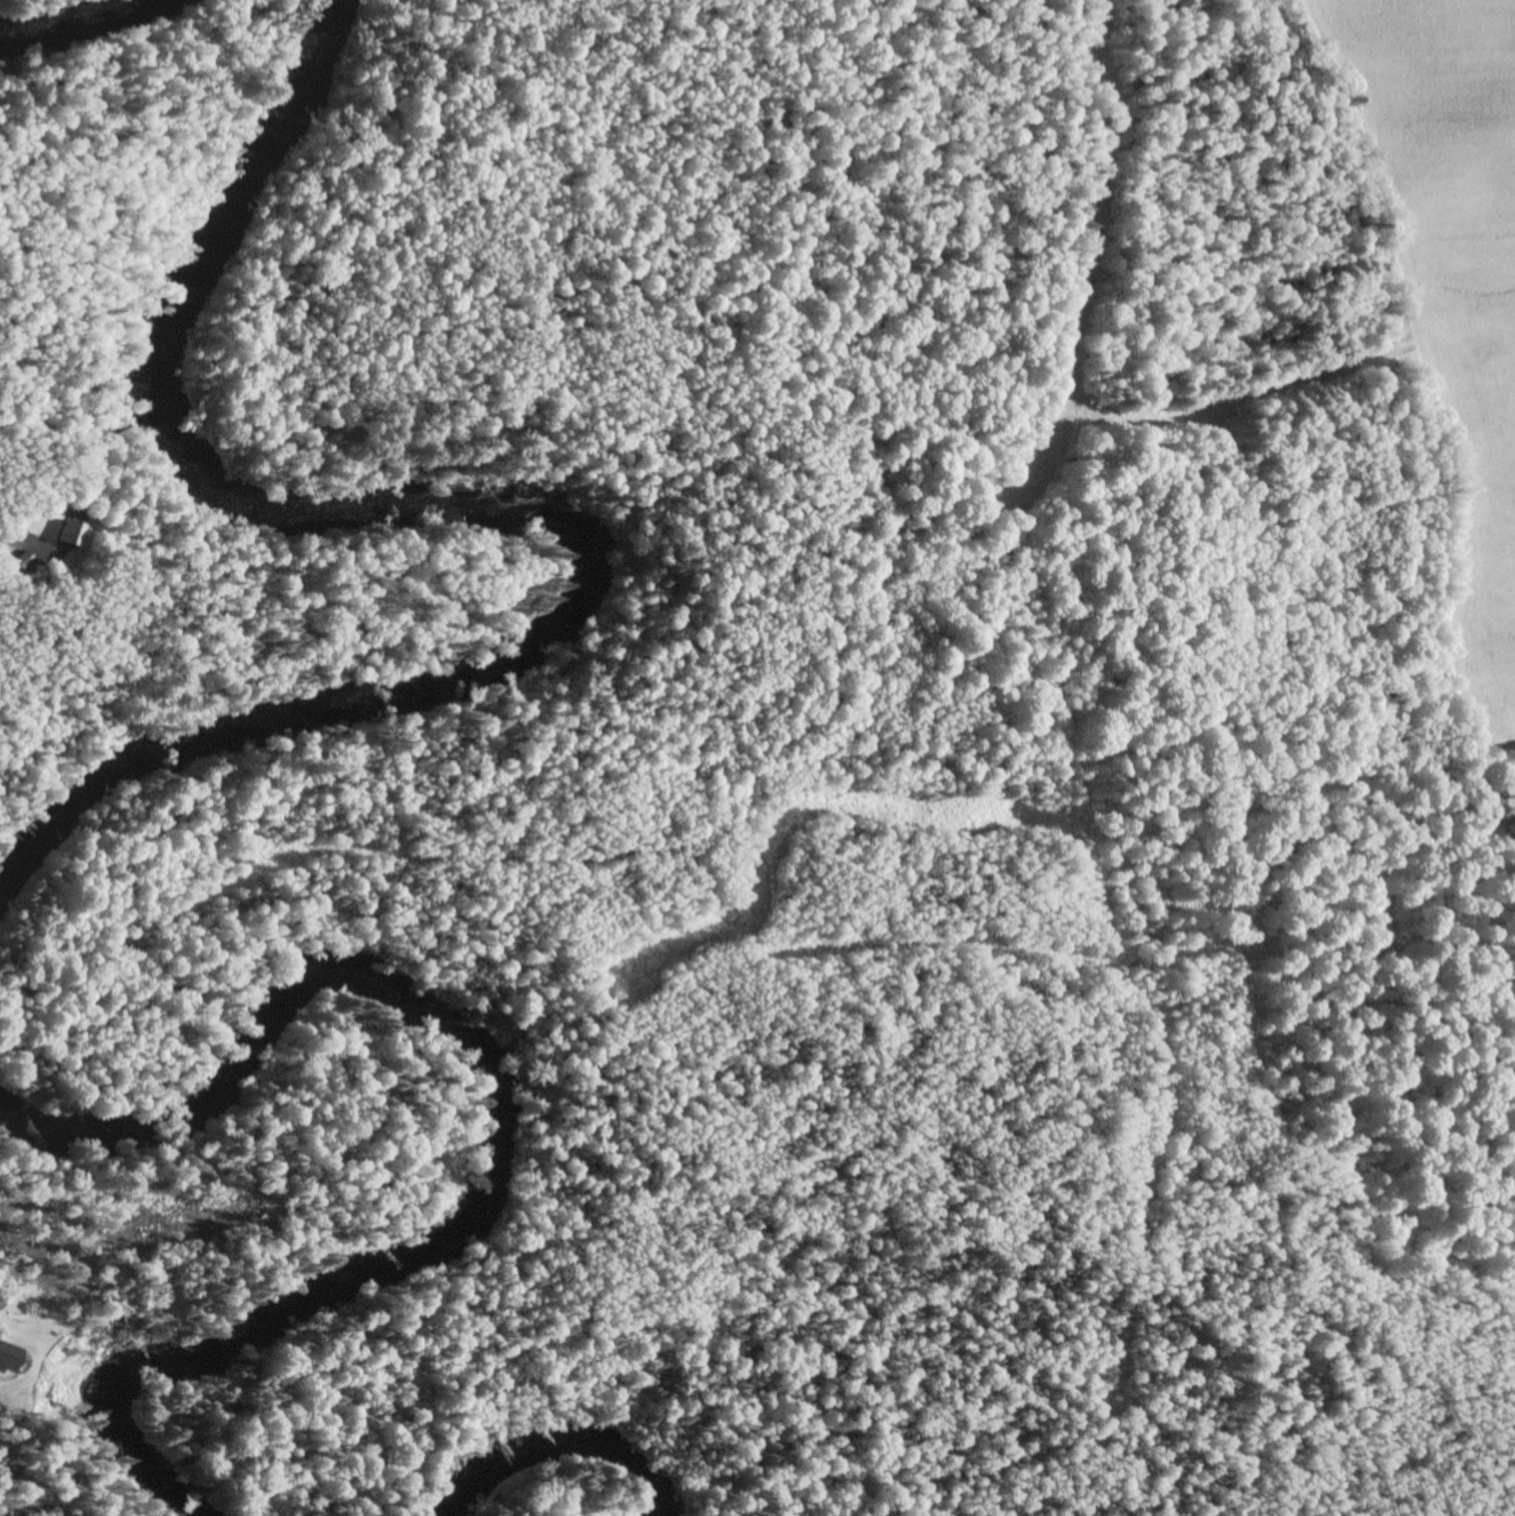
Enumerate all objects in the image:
river: (53, 16)
river: (442, 520)
building: (73, 530)
building: (28, 558)
building: (45, 571)
river: (496, 1134)
building: (2, 1300)
building: (9, 1355)
river: (553, 1450)

